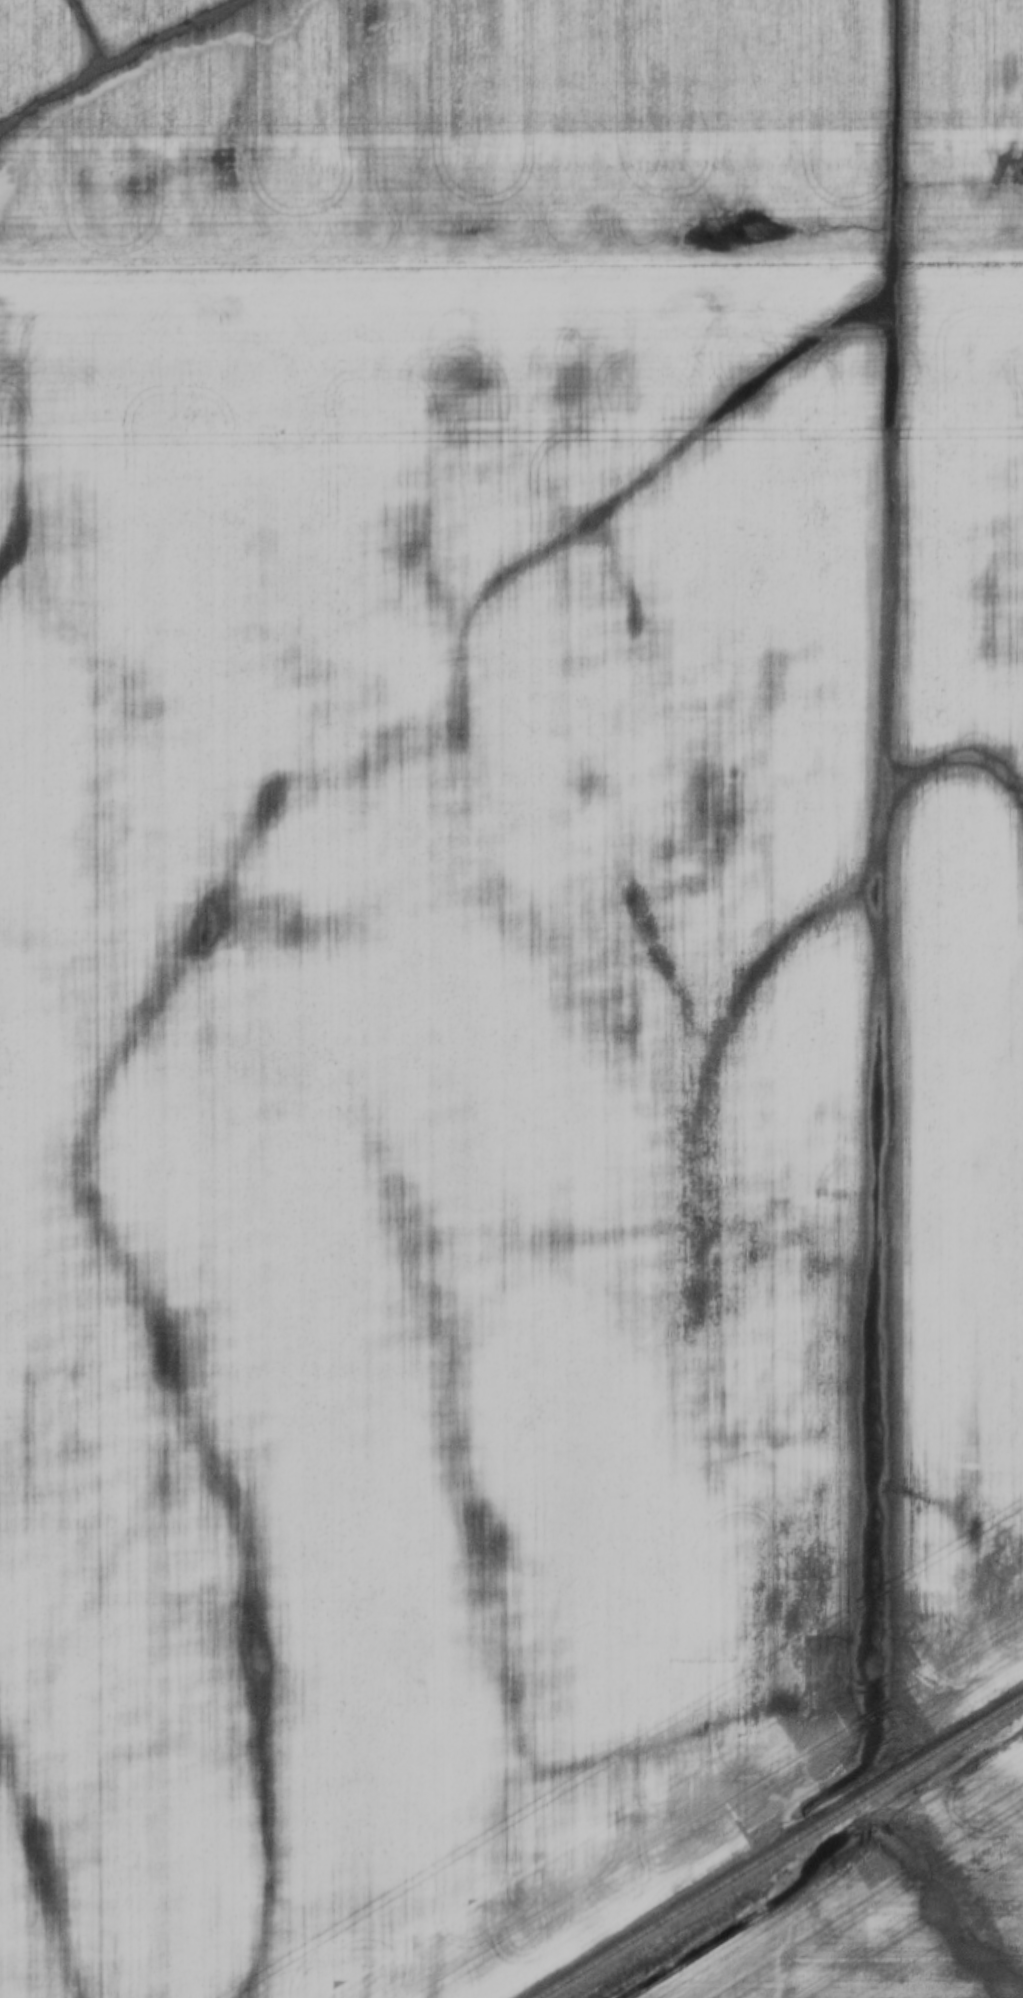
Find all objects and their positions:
railway: (781, 1848)

